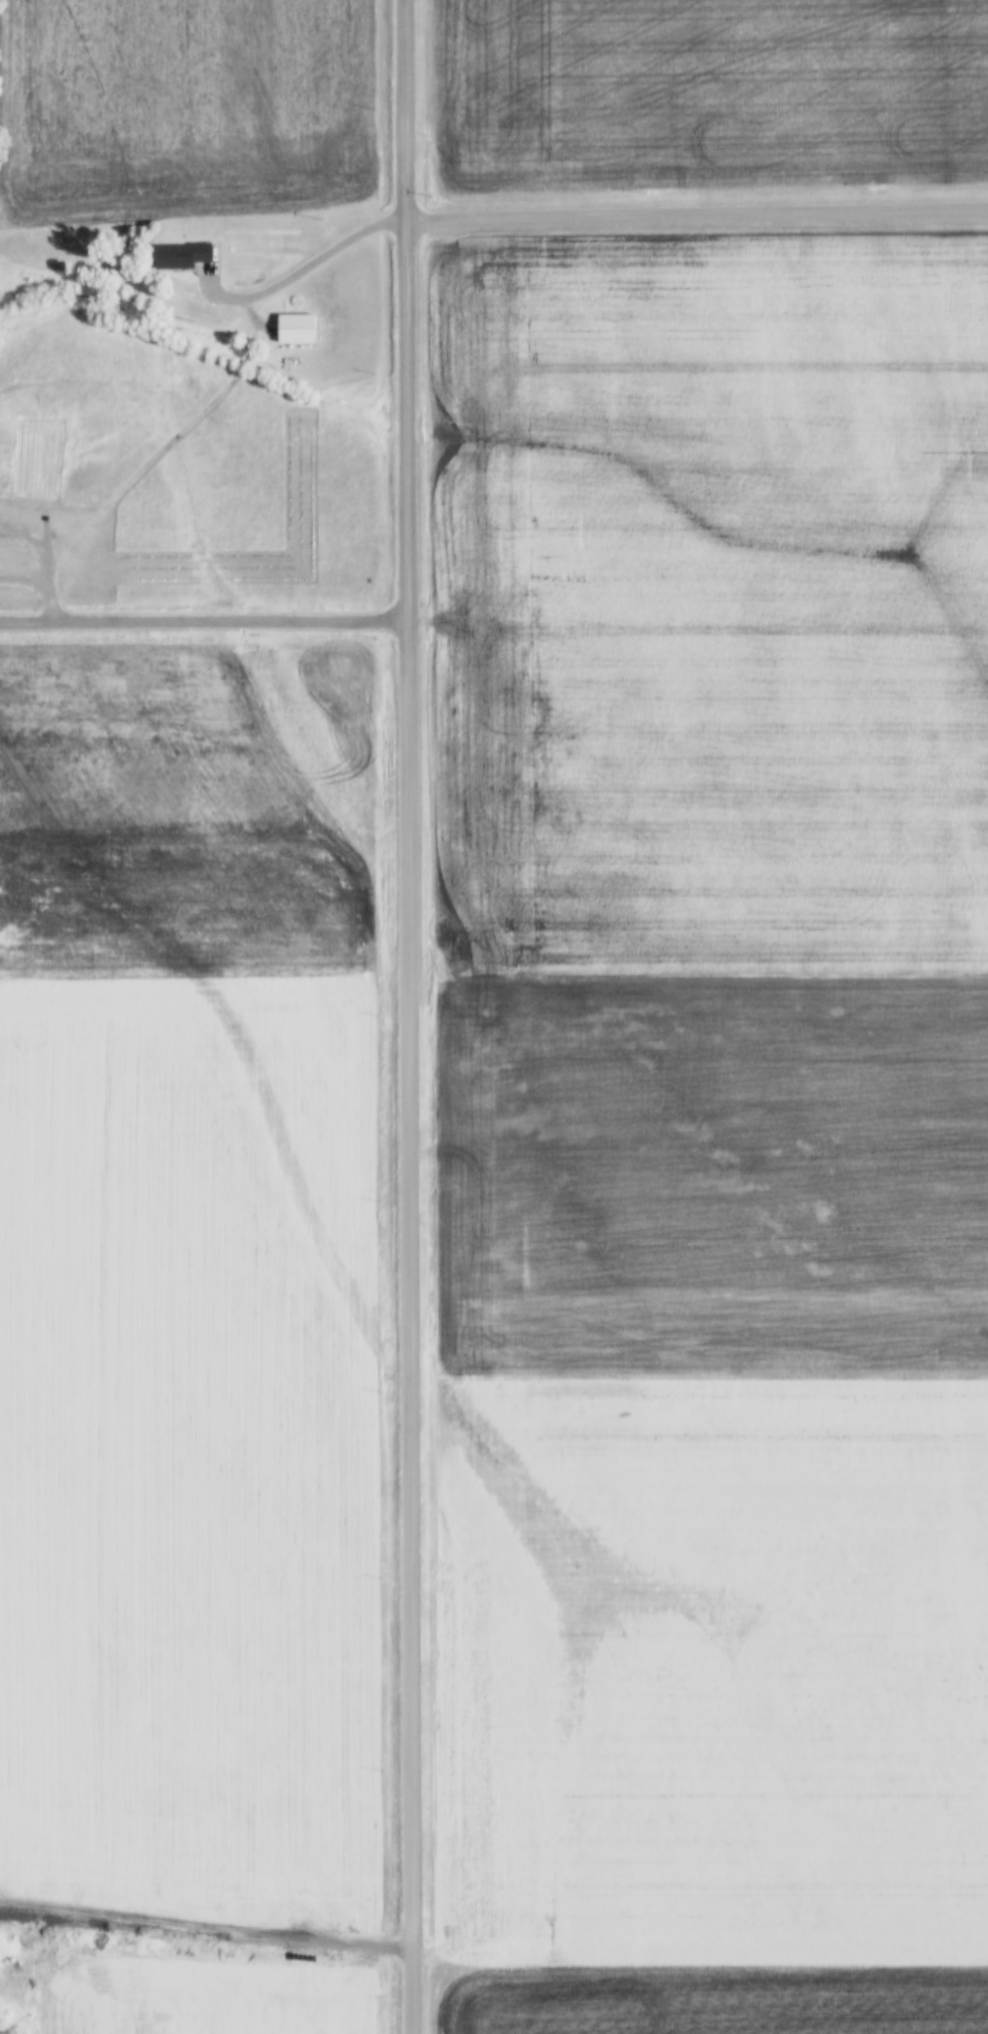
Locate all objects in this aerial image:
crop: (708, 93)
crop: (184, 108)
road: (699, 211)
building: (176, 255)
road: (311, 265)
building: (292, 328)
road: (35, 543)
road: (45, 580)
crop: (711, 601)
road: (206, 618)
crop: (187, 812)
road: (413, 1016)
crop: (713, 1173)
crop: (190, 1454)
crop: (712, 1669)
crop: (210, 1999)
crop: (713, 1999)

